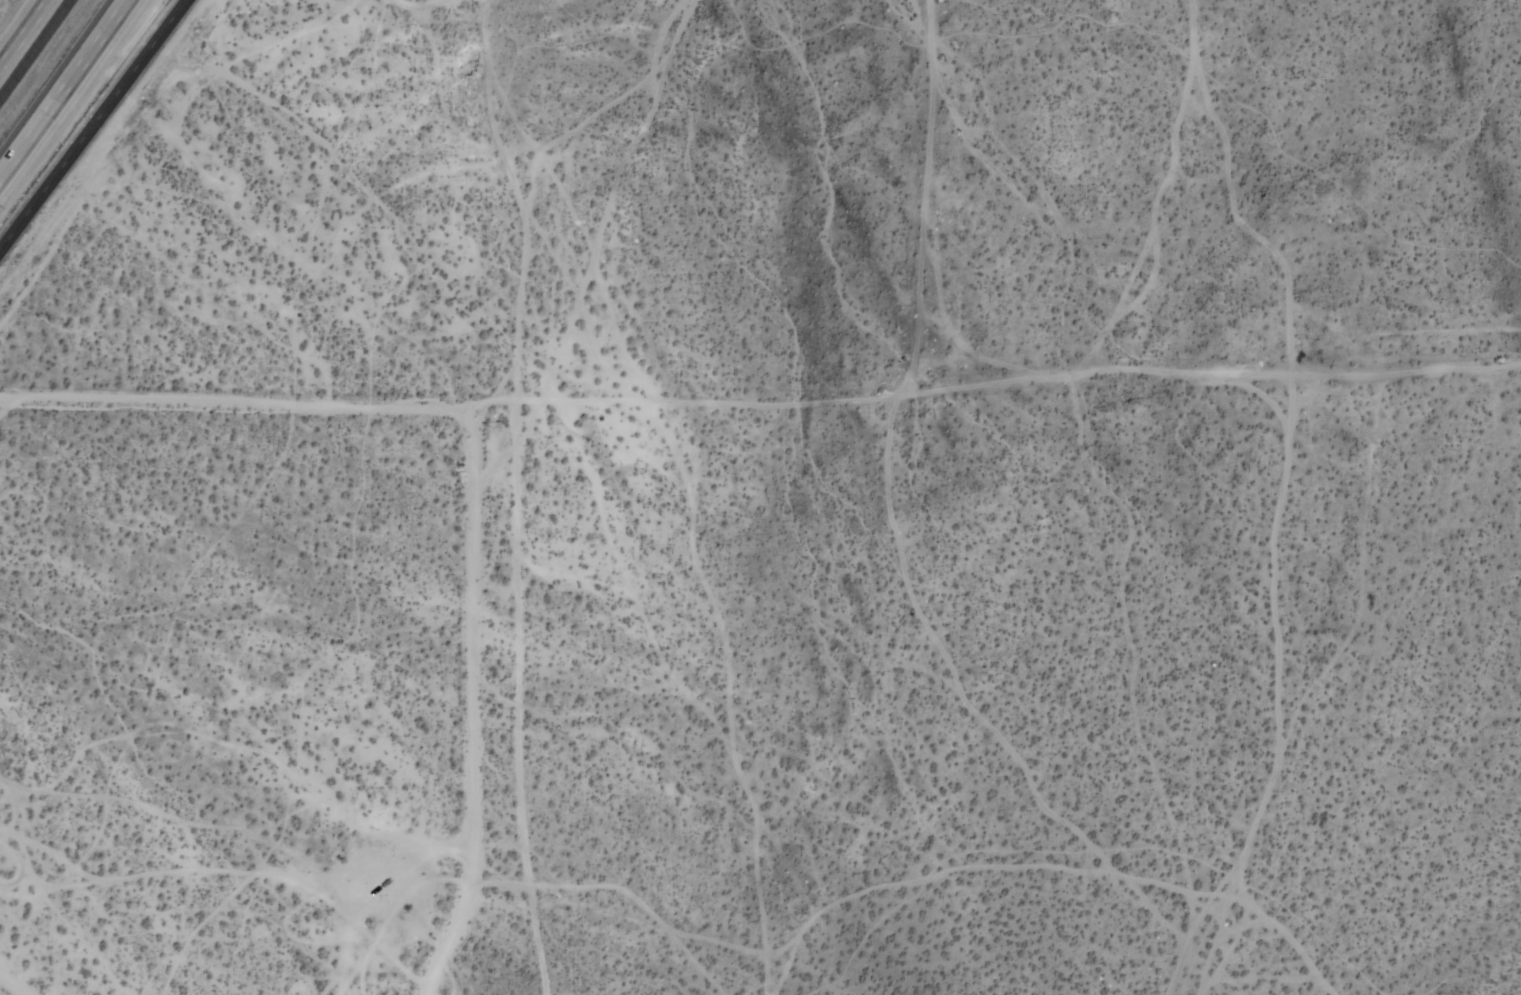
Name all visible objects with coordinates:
road: (31, 42)
railway: (48, 65)
road: (65, 93)
road: (92, 124)
road: (236, 405)
road: (1056, 416)
road: (472, 707)
road: (546, 710)
road: (12, 985)

